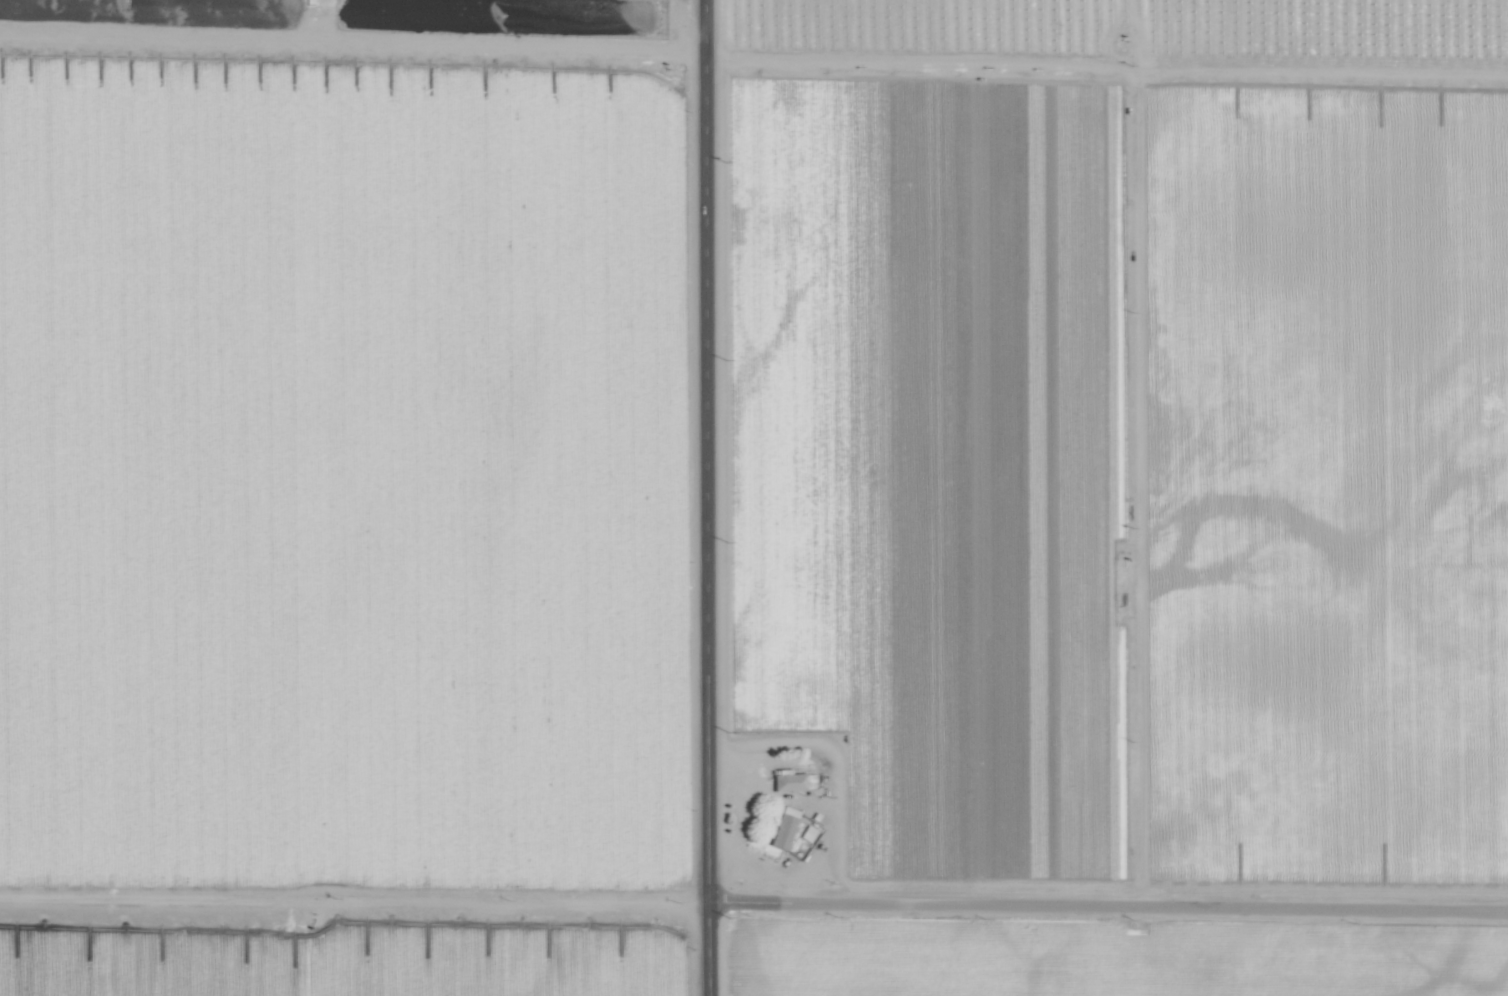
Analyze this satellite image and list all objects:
crop: (357, 27)
road: (697, 498)
crop: (754, 498)
building: (787, 781)
building: (781, 832)
road: (1103, 904)

